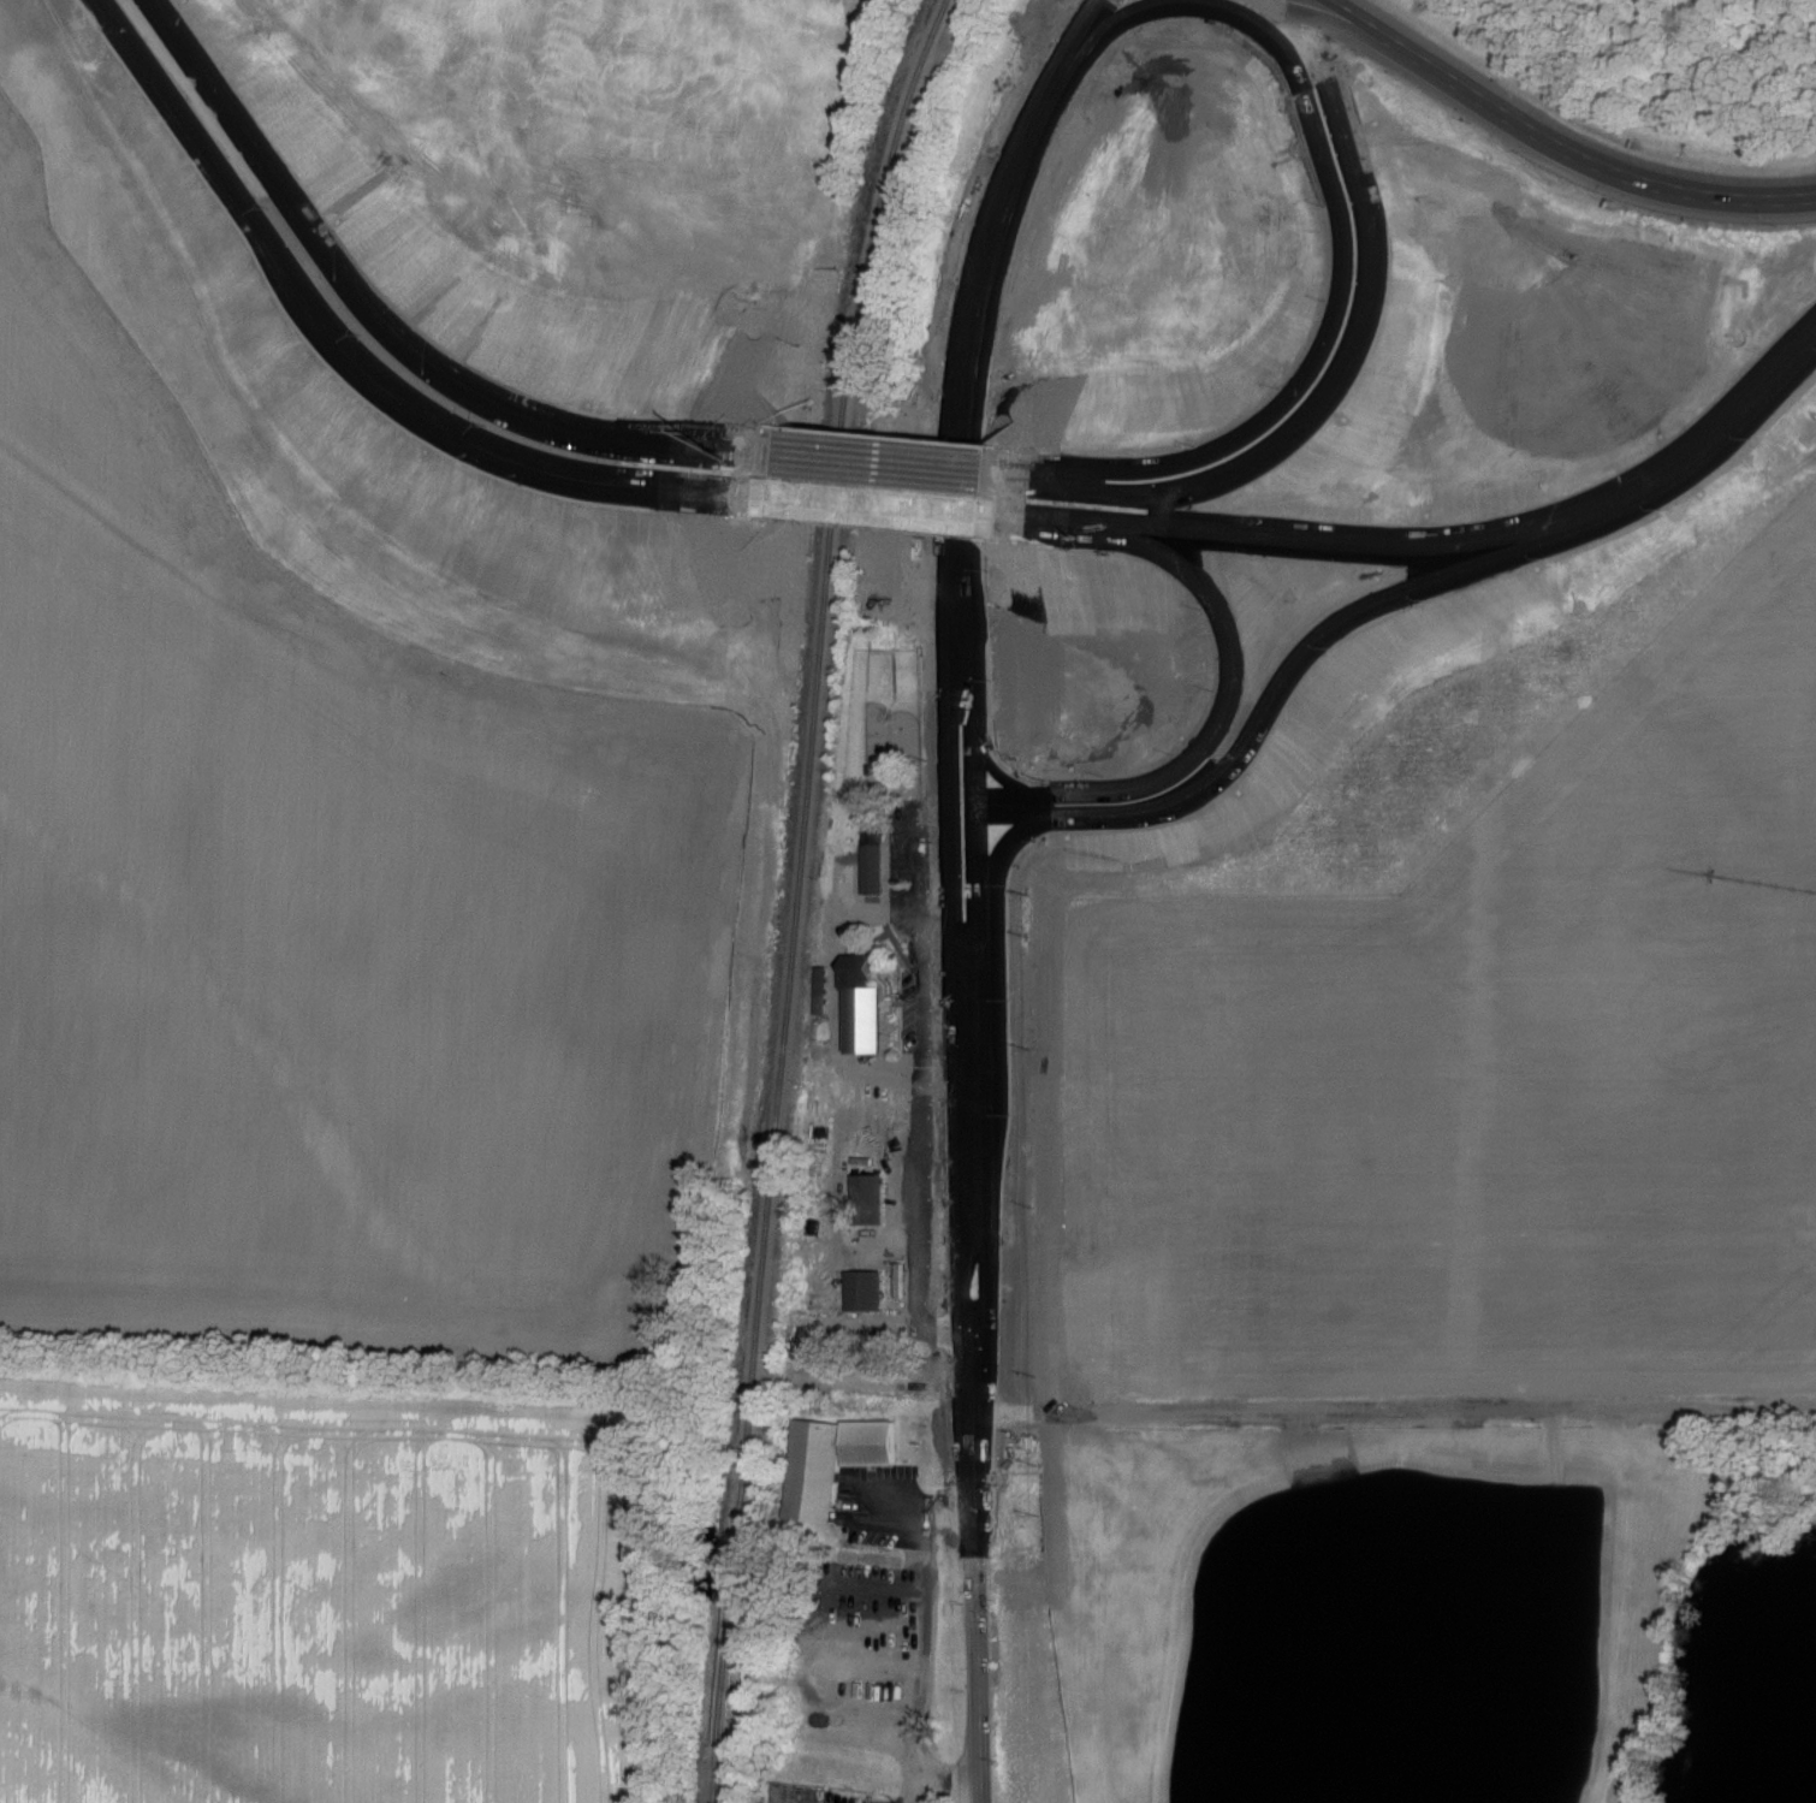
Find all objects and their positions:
road: (1204, 2)
road: (1074, 40)
road: (1352, 316)
road: (382, 319)
road: (348, 351)
road: (920, 463)
road: (920, 508)
road: (1489, 536)
road: (1218, 722)
road: (1241, 745)
traffic signals: (973, 808)
road: (1013, 815)
road: (962, 841)
building: (870, 867)
railway: (800, 895)
road: (974, 933)
building: (857, 1016)
building: (876, 1125)
building: (862, 1194)
building: (857, 1287)
road: (1395, 1410)
building: (831, 1460)
road: (914, 1500)
road: (909, 1651)
road: (949, 1781)

